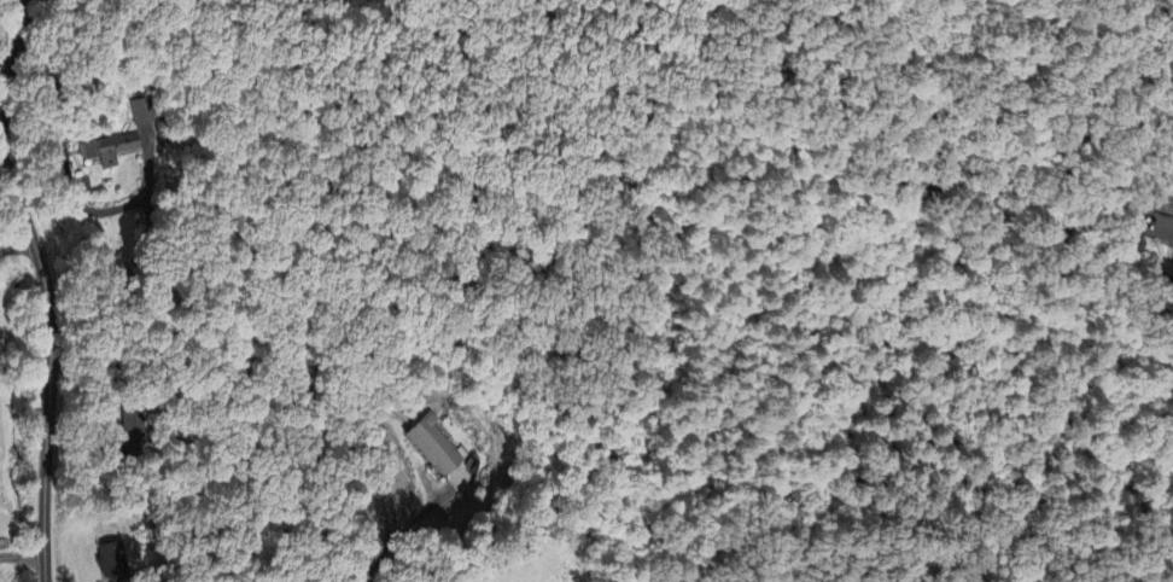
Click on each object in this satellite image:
road: (52, 93)
building: (121, 140)
road: (17, 250)
road: (46, 287)
building: (437, 446)
road: (397, 535)
building: (113, 559)

